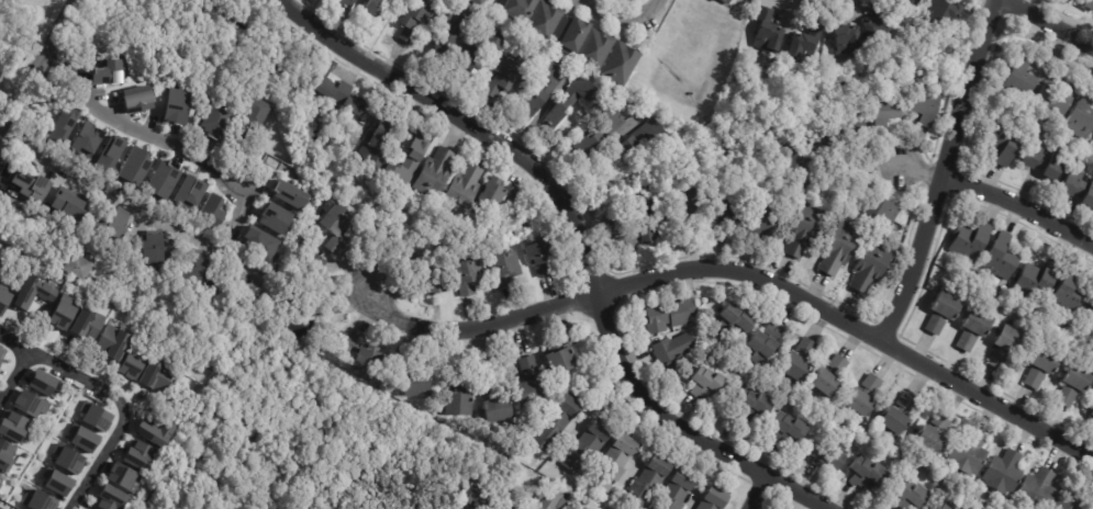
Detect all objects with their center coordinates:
road: (1, 0)
road: (581, 0)
building: (620, 0)
building: (632, 0)
building: (721, 1)
building: (479, 2)
building: (906, 3)
road: (48, 4)
building: (353, 4)
building: (1089, 4)
road: (740, 5)
building: (373, 11)
road: (65, 12)
building: (536, 13)
building: (939, 14)
road: (617, 15)
road: (991, 15)
building: (415, 21)
road: (1049, 23)
building: (875, 29)
building: (767, 31)
building: (448, 36)
building: (844, 37)
road: (49, 42)
building: (587, 43)
building: (805, 43)
building: (481, 48)
road: (979, 56)
building: (623, 64)
park: (8, 71)
building: (109, 71)
building: (509, 77)
building: (1017, 80)
building: (546, 88)
road: (20, 94)
road: (422, 94)
building: (343, 95)
building: (137, 99)
building: (571, 102)
building: (924, 103)
building: (1051, 103)
building: (176, 105)
building: (881, 110)
building: (256, 113)
building: (1079, 118)
building: (847, 121)
building: (215, 122)
building: (62, 124)
building: (85, 139)
road: (159, 139)
building: (621, 139)
building: (1004, 143)
building: (383, 145)
building: (109, 152)
building: (413, 160)
building: (1041, 160)
building: (789, 165)
building: (134, 166)
road: (921, 170)
building: (435, 174)
building: (161, 180)
road: (256, 182)
building: (1077, 186)
building: (31, 188)
building: (464, 190)
road: (105, 191)
building: (188, 192)
building: (289, 194)
building: (498, 194)
building: (67, 205)
road: (1019, 205)
building: (211, 211)
road: (570, 211)
building: (722, 212)
building: (874, 212)
road: (930, 212)
building: (692, 213)
building: (275, 217)
building: (754, 220)
building: (110, 223)
building: (646, 226)
building: (515, 227)
building: (338, 228)
building: (800, 231)
building: (621, 233)
building: (969, 240)
building: (259, 242)
building: (155, 248)
building: (837, 249)
building: (533, 257)
building: (1000, 257)
building: (0, 260)
building: (80, 267)
building: (314, 267)
building: (869, 267)
building: (193, 268)
building: (500, 268)
road: (744, 271)
building: (457, 279)
building: (1037, 279)
building: (427, 282)
building: (245, 286)
building: (32, 292)
building: (1070, 292)
building: (3, 298)
building: (63, 313)
building: (939, 314)
building: (665, 317)
building: (1090, 317)
building: (733, 320)
building: (85, 324)
building: (293, 326)
building: (325, 326)
building: (971, 330)
road: (15, 342)
building: (113, 342)
building: (759, 344)
building: (1004, 347)
building: (670, 350)
building: (2, 353)
building: (561, 354)
building: (359, 357)
building: (795, 362)
building: (131, 364)
building: (400, 364)
building: (1039, 366)
building: (527, 367)
building: (451, 371)
road: (15, 374)
building: (153, 376)
building: (826, 376)
building: (488, 382)
building: (43, 383)
building: (703, 383)
building: (411, 386)
building: (1072, 386)
building: (528, 393)
building: (862, 397)
building: (29, 404)
building: (456, 406)
building: (747, 406)
road: (657, 407)
building: (1091, 410)
road: (123, 411)
building: (494, 411)
building: (94, 416)
building: (895, 417)
building: (13, 426)
building: (555, 426)
building: (785, 428)
building: (155, 431)
building: (928, 434)
building: (82, 438)
building: (583, 449)
building: (825, 453)
building: (5, 455)
building: (140, 455)
building: (968, 455)
building: (67, 459)
building: (611, 465)
building: (911, 472)
building: (865, 473)
building: (1002, 475)
building: (122, 477)
building: (56, 480)
building: (0, 485)
building: (645, 485)
building: (537, 486)
building: (1035, 491)
building: (672, 493)
road: (757, 493)
building: (468, 495)
building: (905, 495)
building: (712, 497)
building: (110, 498)
building: (37, 500)
building: (551, 500)
building: (1066, 504)
building: (503, 506)
building: (938, 507)
building: (461, 508)
building: (489, 508)
building: (952, 508)

